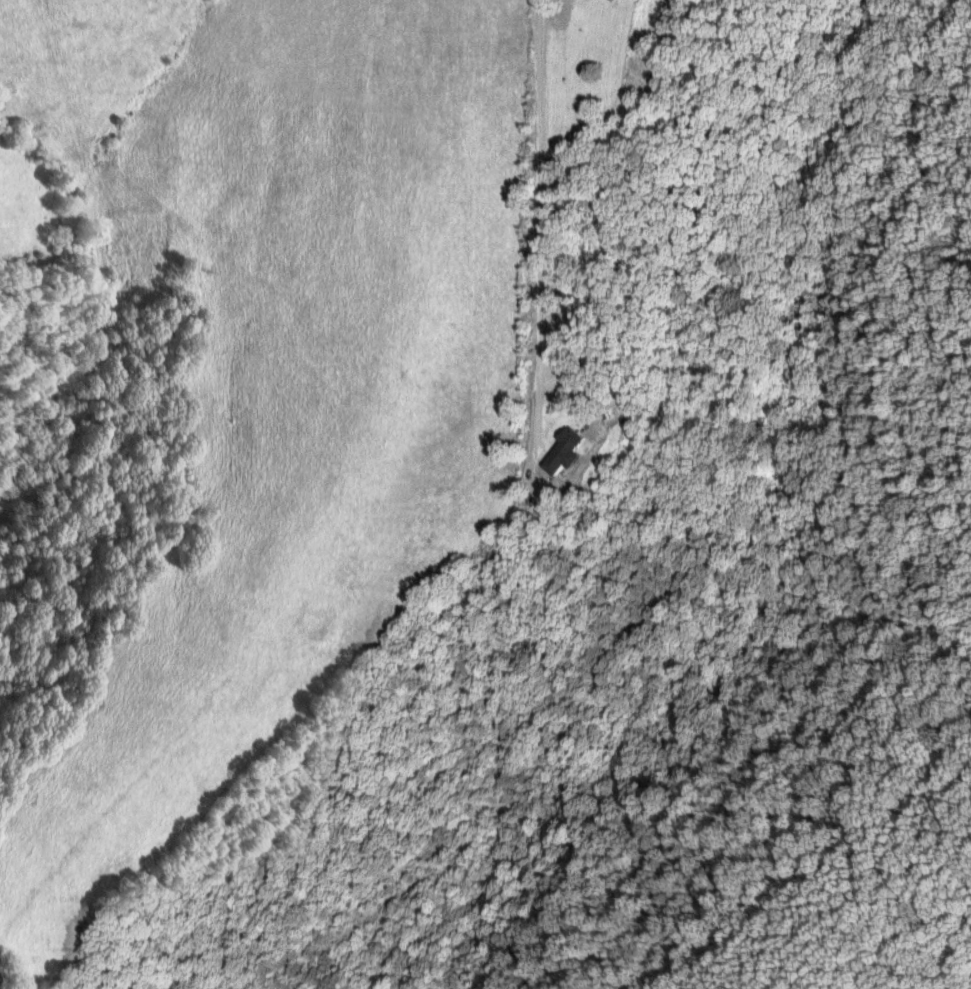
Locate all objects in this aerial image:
road: (536, 242)
building: (561, 450)

